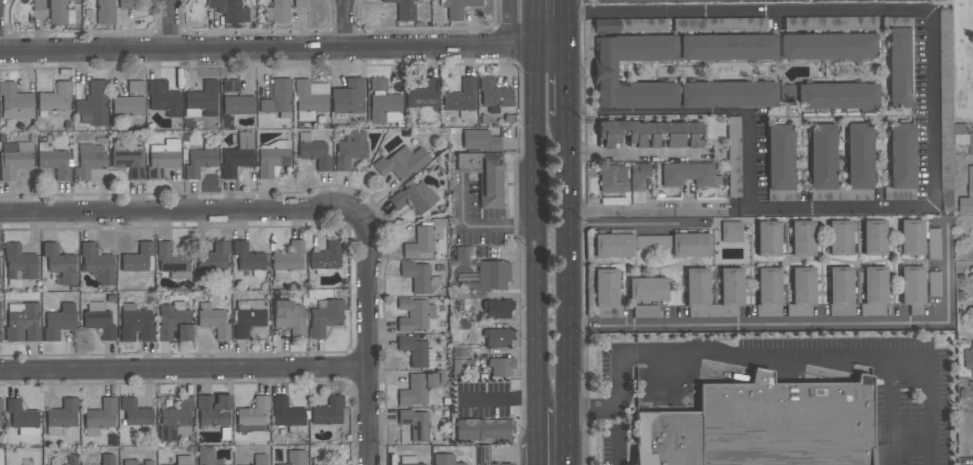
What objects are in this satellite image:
building: (664, 0)
building: (833, 0)
building: (299, 3)
building: (124, 4)
building: (38, 5)
building: (457, 7)
building: (404, 9)
building: (229, 10)
building: (277, 12)
building: (60, 13)
building: (102, 13)
road: (746, 13)
road: (546, 15)
building: (946, 20)
road: (561, 21)
road: (509, 22)
road: (348, 23)
building: (719, 23)
building: (830, 23)
road: (172, 24)
building: (643, 24)
building: (605, 26)
building: (828, 46)
road: (280, 47)
building: (728, 47)
park: (963, 60)
building: (900, 61)
building: (604, 71)
road: (562, 79)
building: (377, 84)
building: (230, 86)
building: (135, 87)
building: (786, 94)
building: (728, 95)
building: (422, 96)
building: (837, 96)
building: (348, 97)
building: (495, 97)
building: (278, 98)
building: (54, 99)
building: (164, 99)
building: (309, 99)
building: (461, 99)
building: (201, 100)
building: (15, 103)
building: (93, 104)
building: (238, 105)
building: (127, 107)
road: (931, 108)
building: (385, 109)
building: (650, 134)
building: (480, 140)
building: (970, 143)
building: (350, 150)
building: (313, 151)
building: (237, 155)
building: (733, 157)
building: (163, 158)
building: (14, 159)
building: (272, 159)
building: (127, 160)
building: (199, 160)
building: (53, 161)
building: (88, 161)
road: (750, 162)
building: (402, 163)
building: (858, 163)
building: (901, 163)
building: (779, 164)
building: (822, 164)
building: (688, 174)
building: (484, 176)
building: (612, 178)
building: (970, 181)
building: (638, 182)
building: (413, 197)
road: (533, 203)
building: (947, 207)
road: (747, 209)
road: (178, 212)
road: (481, 228)
building: (730, 232)
building: (911, 236)
building: (873, 237)
building: (801, 238)
building: (840, 238)
building: (767, 239)
building: (424, 240)
building: (650, 244)
building: (933, 244)
building: (213, 257)
building: (137, 258)
building: (325, 258)
building: (249, 259)
building: (287, 259)
building: (172, 261)
building: (97, 263)
building: (59, 264)
building: (19, 265)
building: (492, 274)
building: (418, 277)
building: (933, 284)
building: (647, 289)
building: (912, 289)
road: (565, 290)
building: (840, 291)
building: (873, 291)
building: (729, 292)
building: (768, 292)
building: (801, 292)
building: (606, 293)
building: (697, 293)
building: (498, 309)
building: (645, 311)
building: (414, 315)
building: (248, 317)
building: (324, 318)
building: (289, 319)
building: (99, 320)
building: (212, 321)
building: (21, 322)
building: (59, 322)
building: (173, 322)
building: (135, 323)
road: (819, 324)
building: (497, 337)
road: (369, 338)
building: (416, 352)
building: (968, 357)
road: (815, 361)
building: (500, 366)
road: (184, 368)
building: (460, 368)
building: (416, 390)
road: (613, 394)
road: (928, 395)
building: (1, 405)
road: (551, 409)
building: (213, 410)
building: (328, 411)
building: (253, 412)
building: (135, 413)
building: (0, 415)
building: (287, 415)
building: (61, 417)
building: (100, 417)
building: (22, 419)
building: (176, 420)
building: (1, 423)
road: (536, 424)
building: (415, 425)
building: (769, 427)
building: (483, 430)
road: (618, 448)
road: (537, 453)
building: (205, 456)
building: (485, 456)
building: (295, 457)
building: (107, 459)
building: (259, 459)
building: (444, 459)
building: (71, 460)
building: (183, 460)
building: (408, 460)
building: (55, 462)
building: (129, 462)
building: (148, 462)
building: (318, 462)

